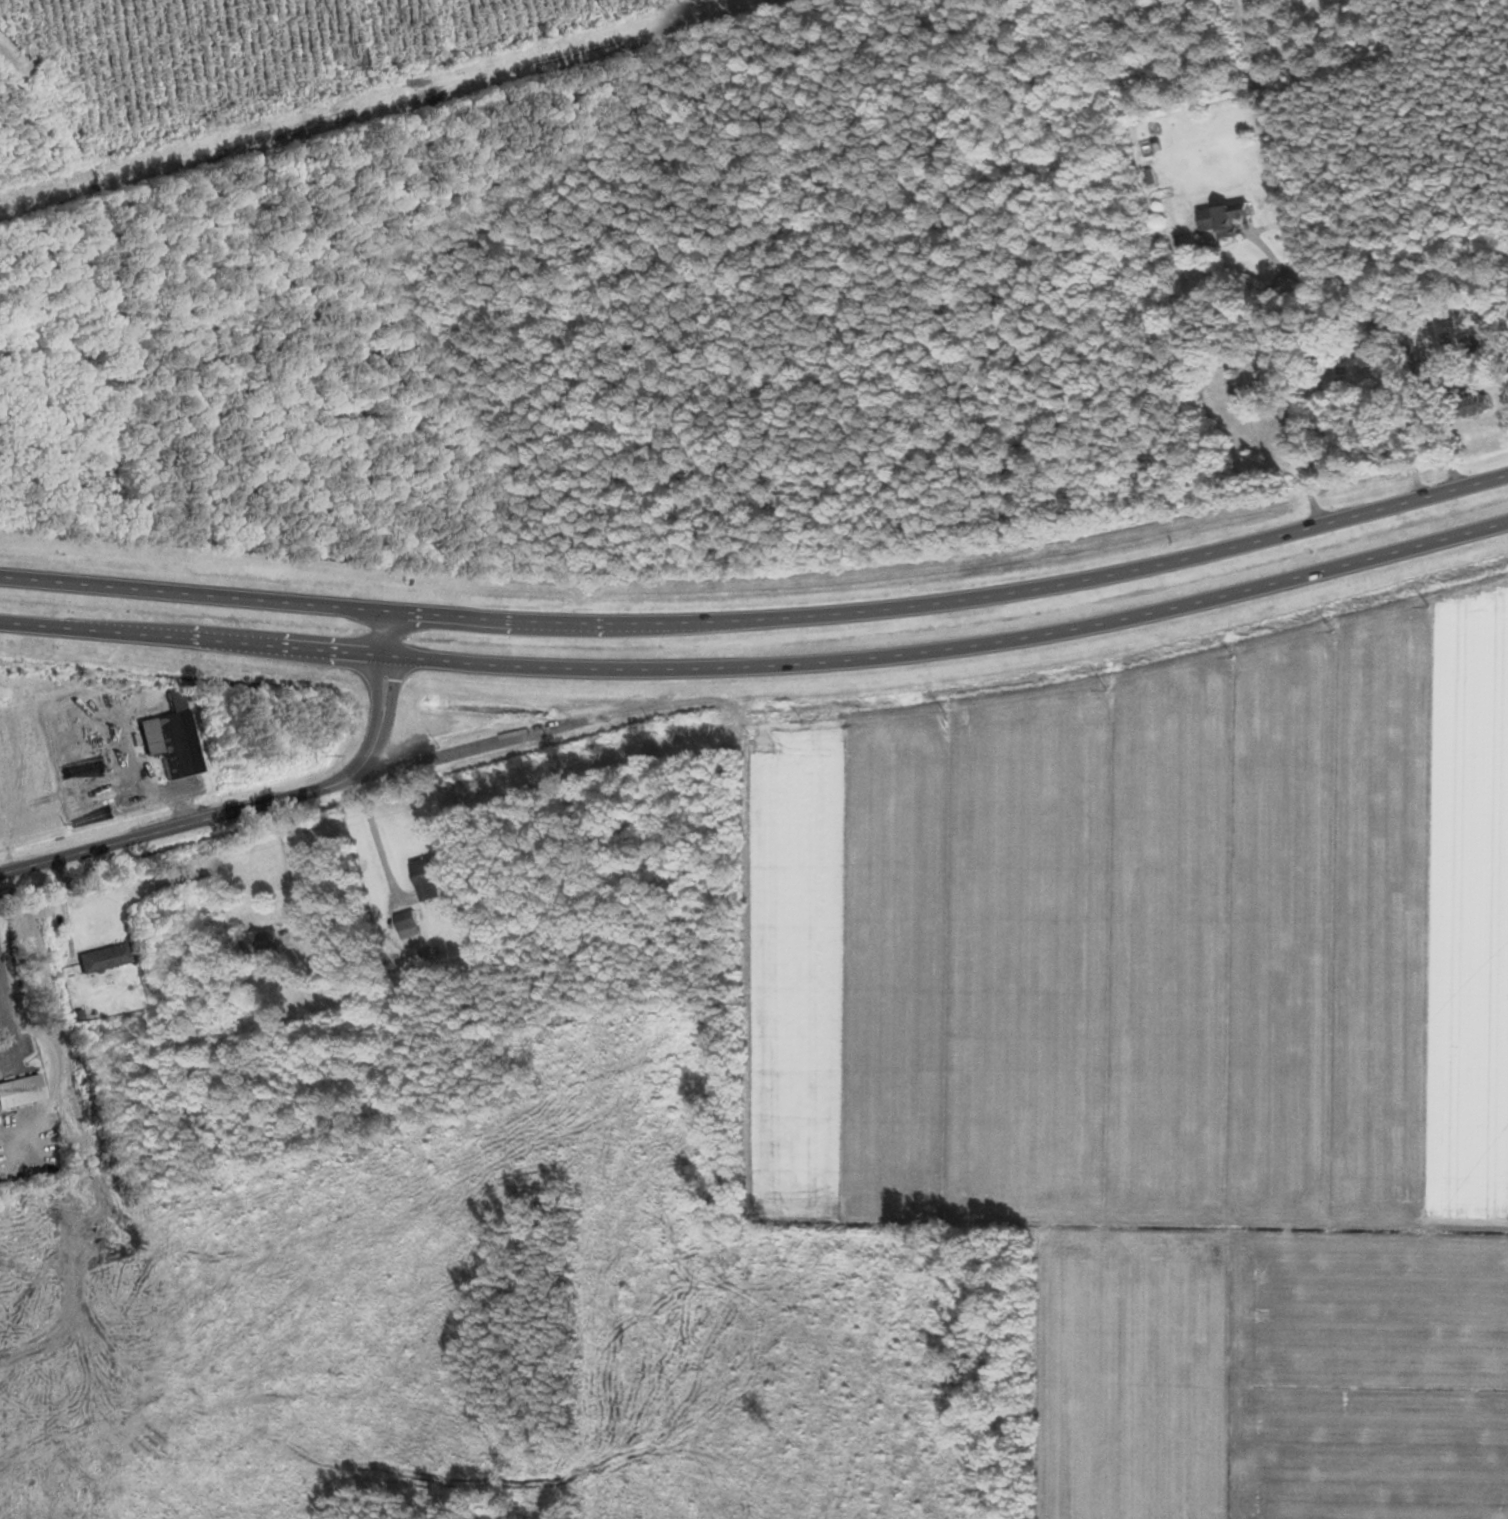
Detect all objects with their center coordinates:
building: (1224, 217)
road: (1262, 321)
building: (1369, 356)
building: (1470, 402)
road: (1240, 542)
road: (191, 594)
road: (676, 620)
road: (191, 641)
road: (952, 645)
building: (168, 737)
road: (260, 804)
road: (376, 832)
road: (299, 864)
building: (430, 875)
building: (408, 924)
building: (261, 943)
building: (101, 958)
road: (34, 960)
building: (324, 968)
road: (51, 1057)
building: (18, 1090)

